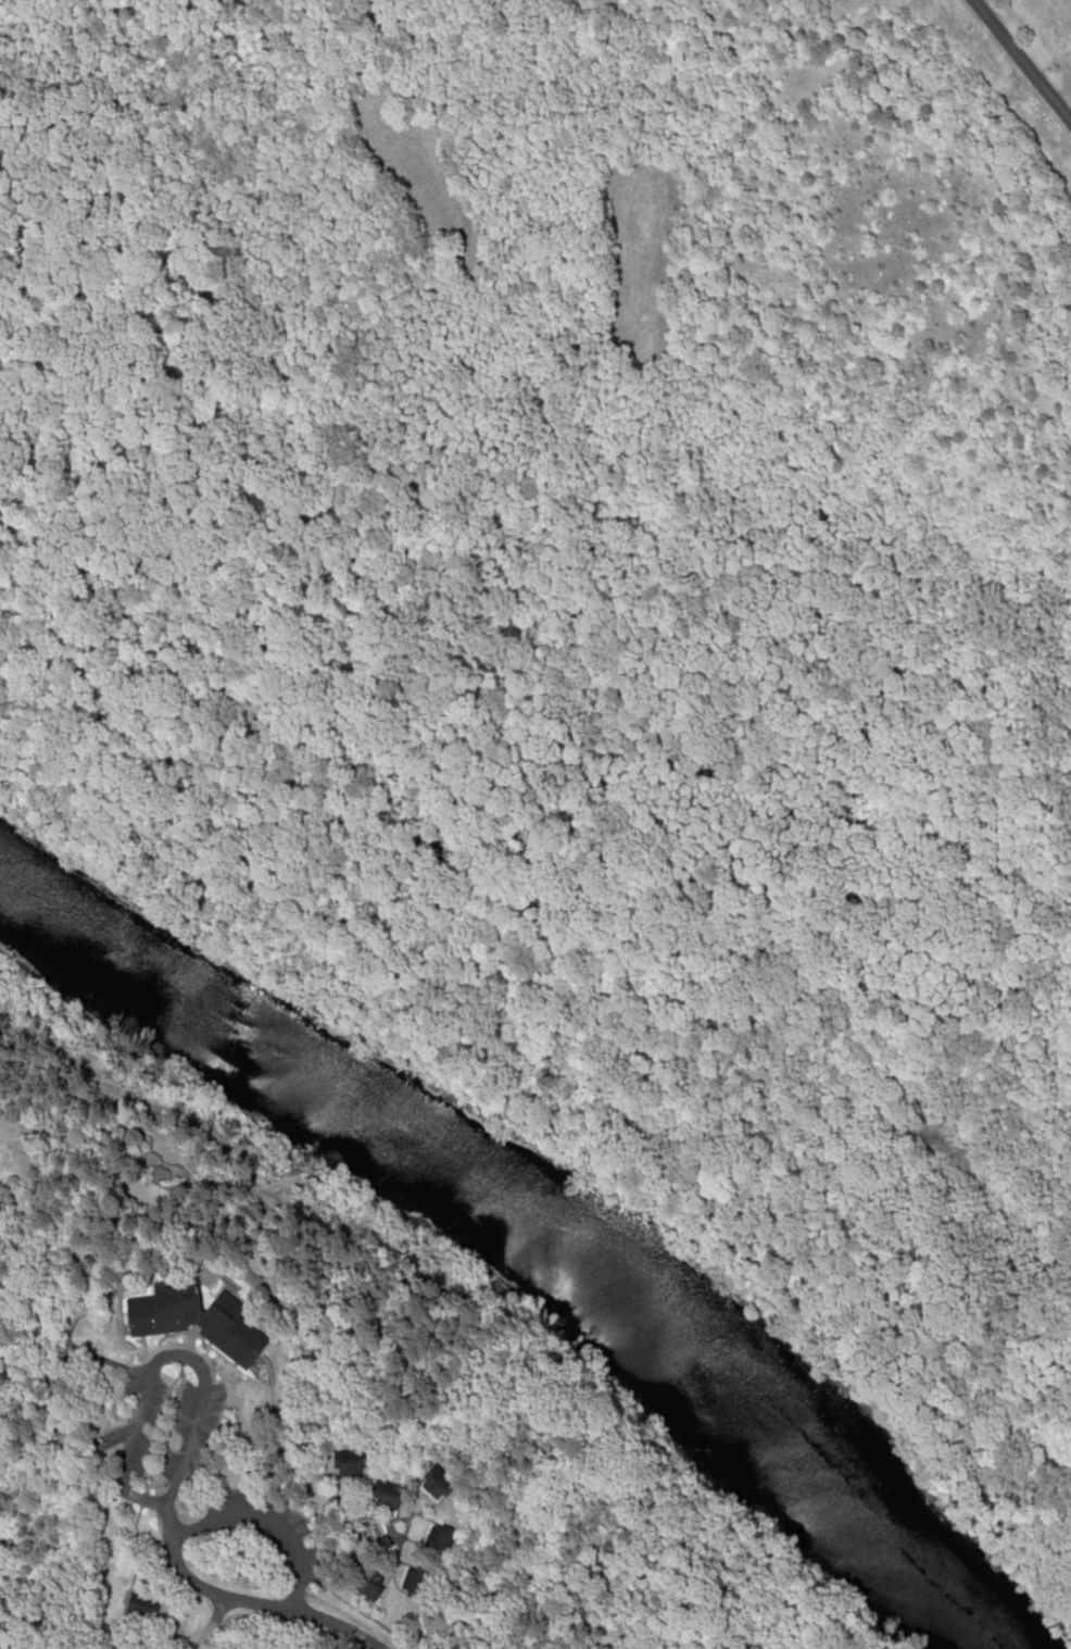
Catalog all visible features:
road: (1021, 61)
building: (197, 1320)
road: (159, 1356)
building: (348, 1462)
building: (437, 1482)
building: (387, 1495)
road: (260, 1520)
building: (438, 1540)
building: (413, 1581)
building: (367, 1583)
road: (245, 1600)
building: (140, 1606)
road: (211, 1622)

